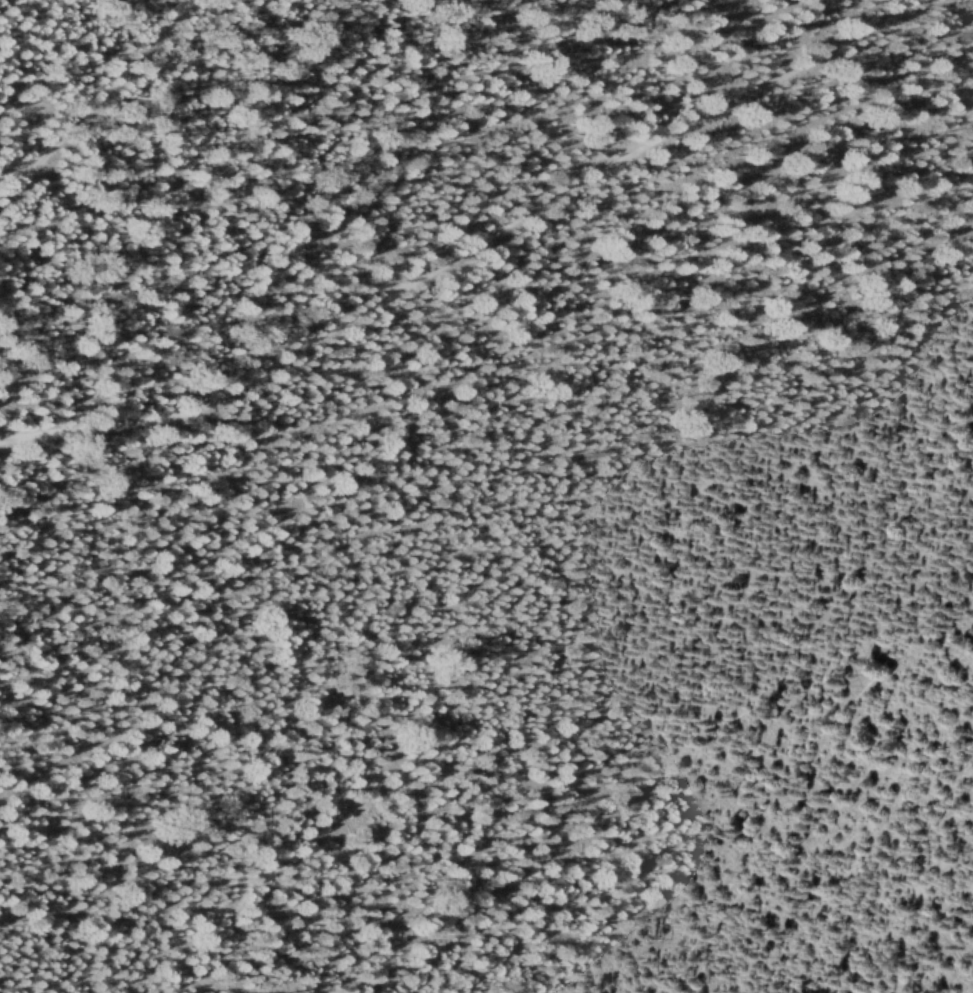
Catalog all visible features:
road: (932, 50)
road: (94, 102)
road: (470, 245)
road: (422, 539)

